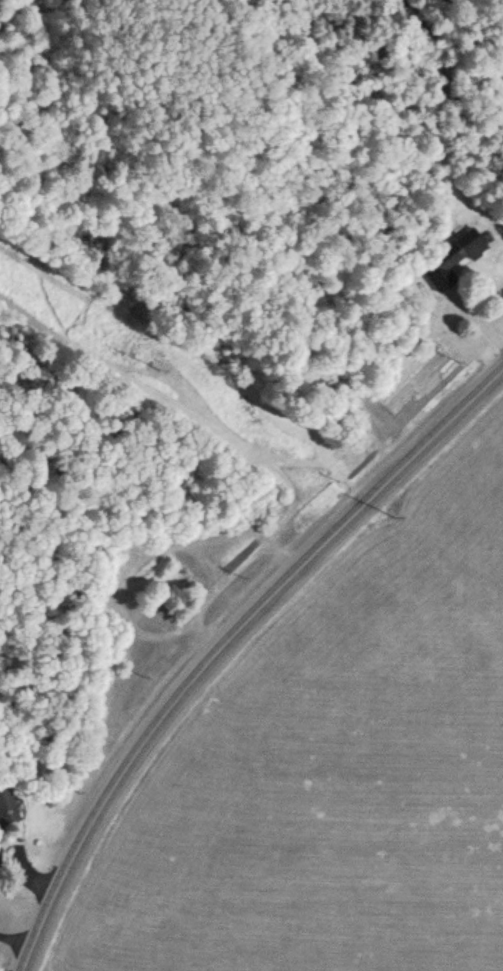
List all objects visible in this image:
building: (449, 259)
road: (226, 642)
building: (6, 804)

